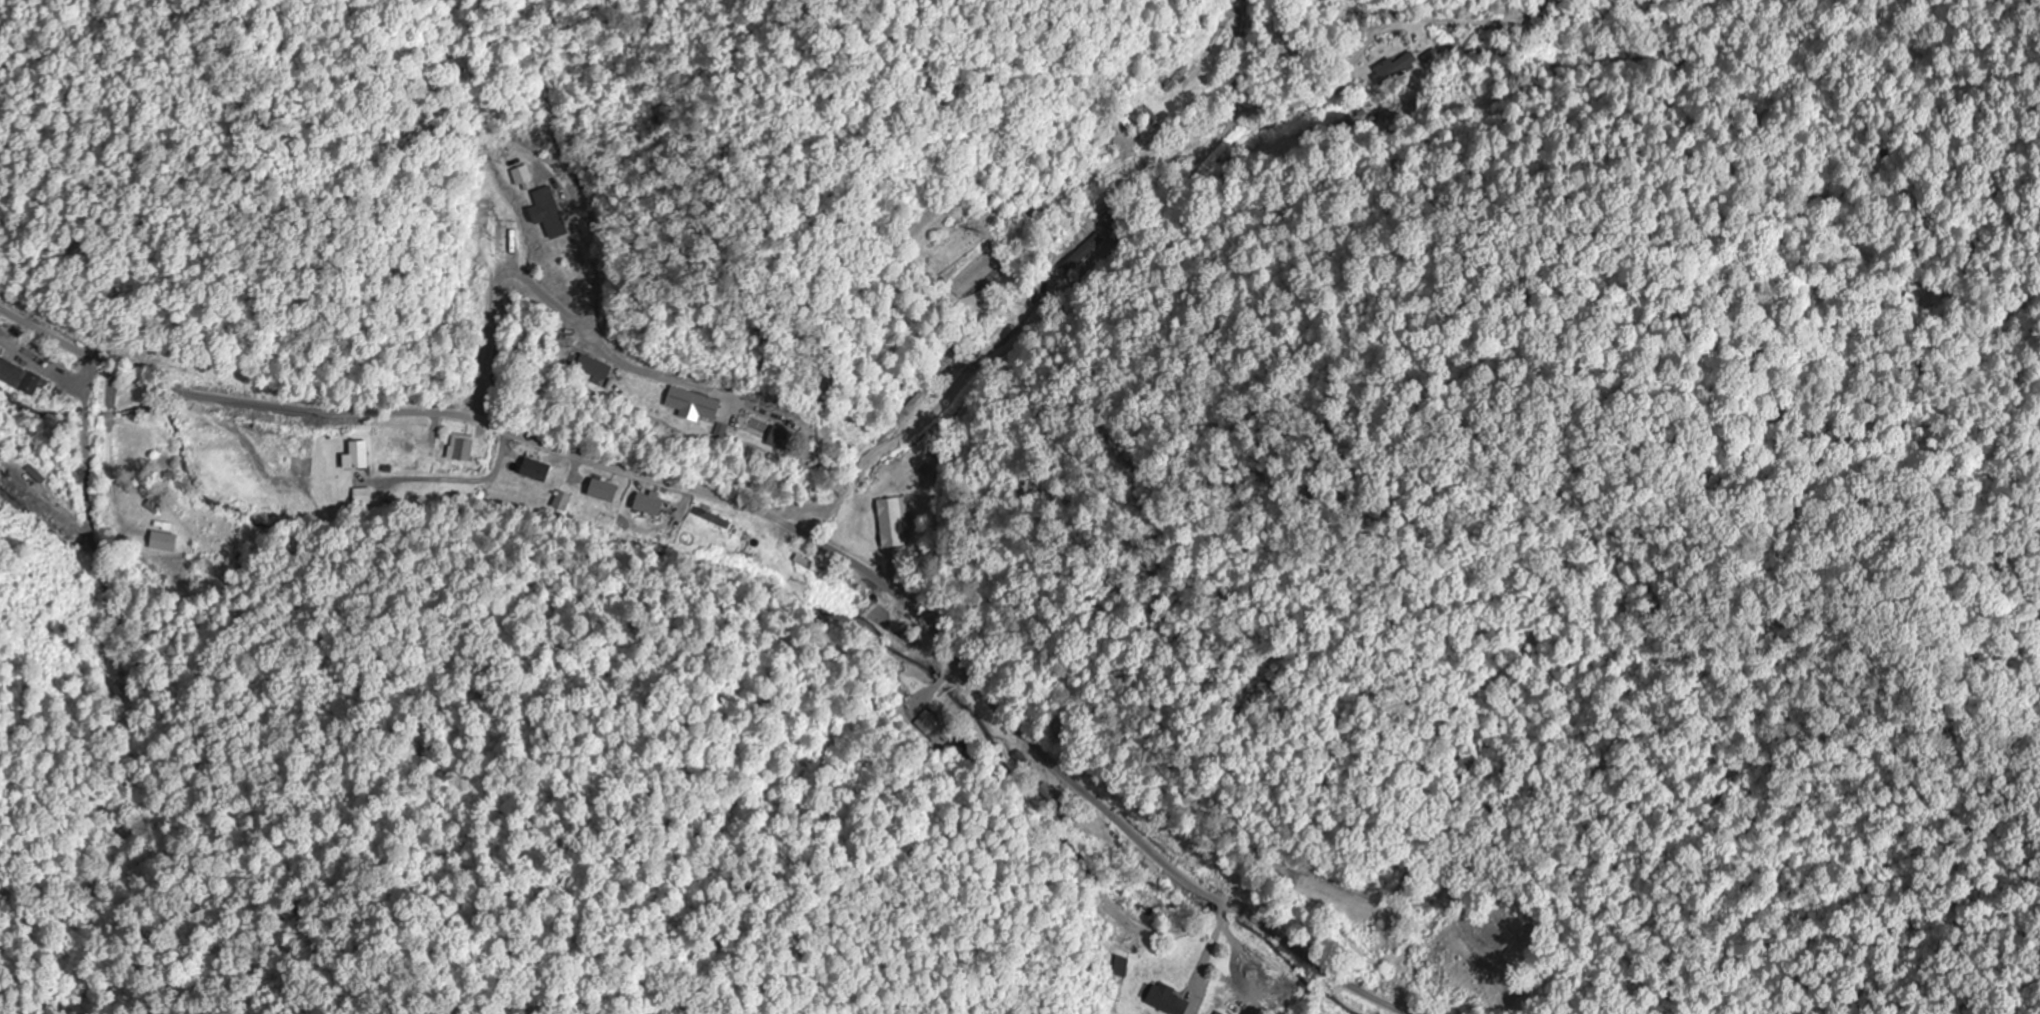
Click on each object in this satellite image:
building: (1556, 18)
road: (1237, 57)
building: (1393, 69)
building: (1146, 113)
building: (1108, 151)
building: (549, 213)
road: (1127, 231)
building: (501, 242)
building: (0, 350)
building: (948, 363)
building: (590, 366)
building: (21, 379)
building: (691, 406)
building: (777, 439)
building: (135, 441)
building: (460, 448)
building: (357, 455)
building: (534, 470)
building: (602, 491)
building: (362, 497)
building: (562, 502)
building: (648, 505)
road: (773, 518)
building: (890, 524)
building: (937, 726)
building: (1052, 801)
building: (1121, 968)
building: (1167, 1001)

